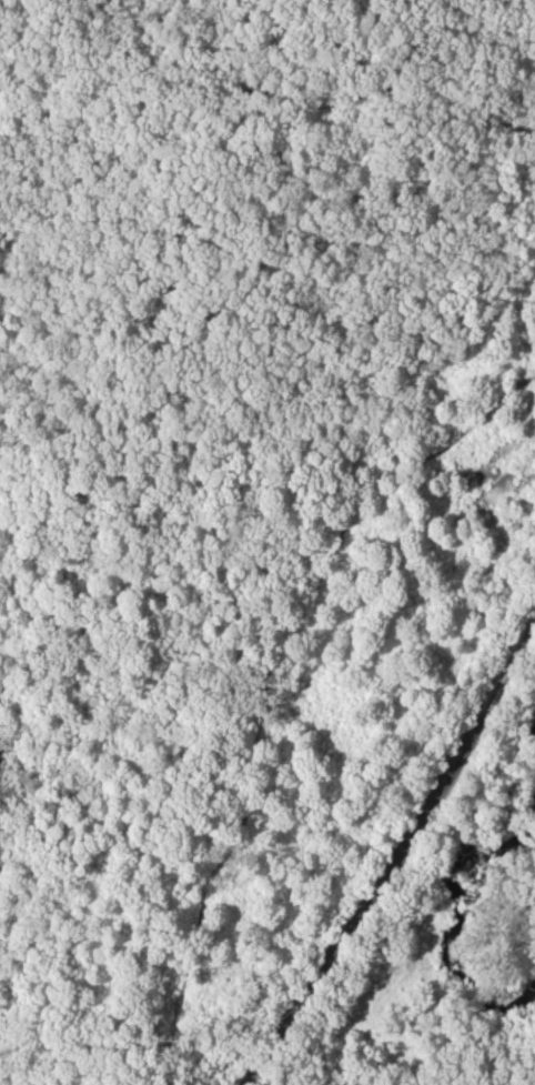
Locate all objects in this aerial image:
road: (271, 94)
park: (267, 542)
road: (398, 853)
road: (186, 937)
road: (6, 1022)
road: (124, 1082)

